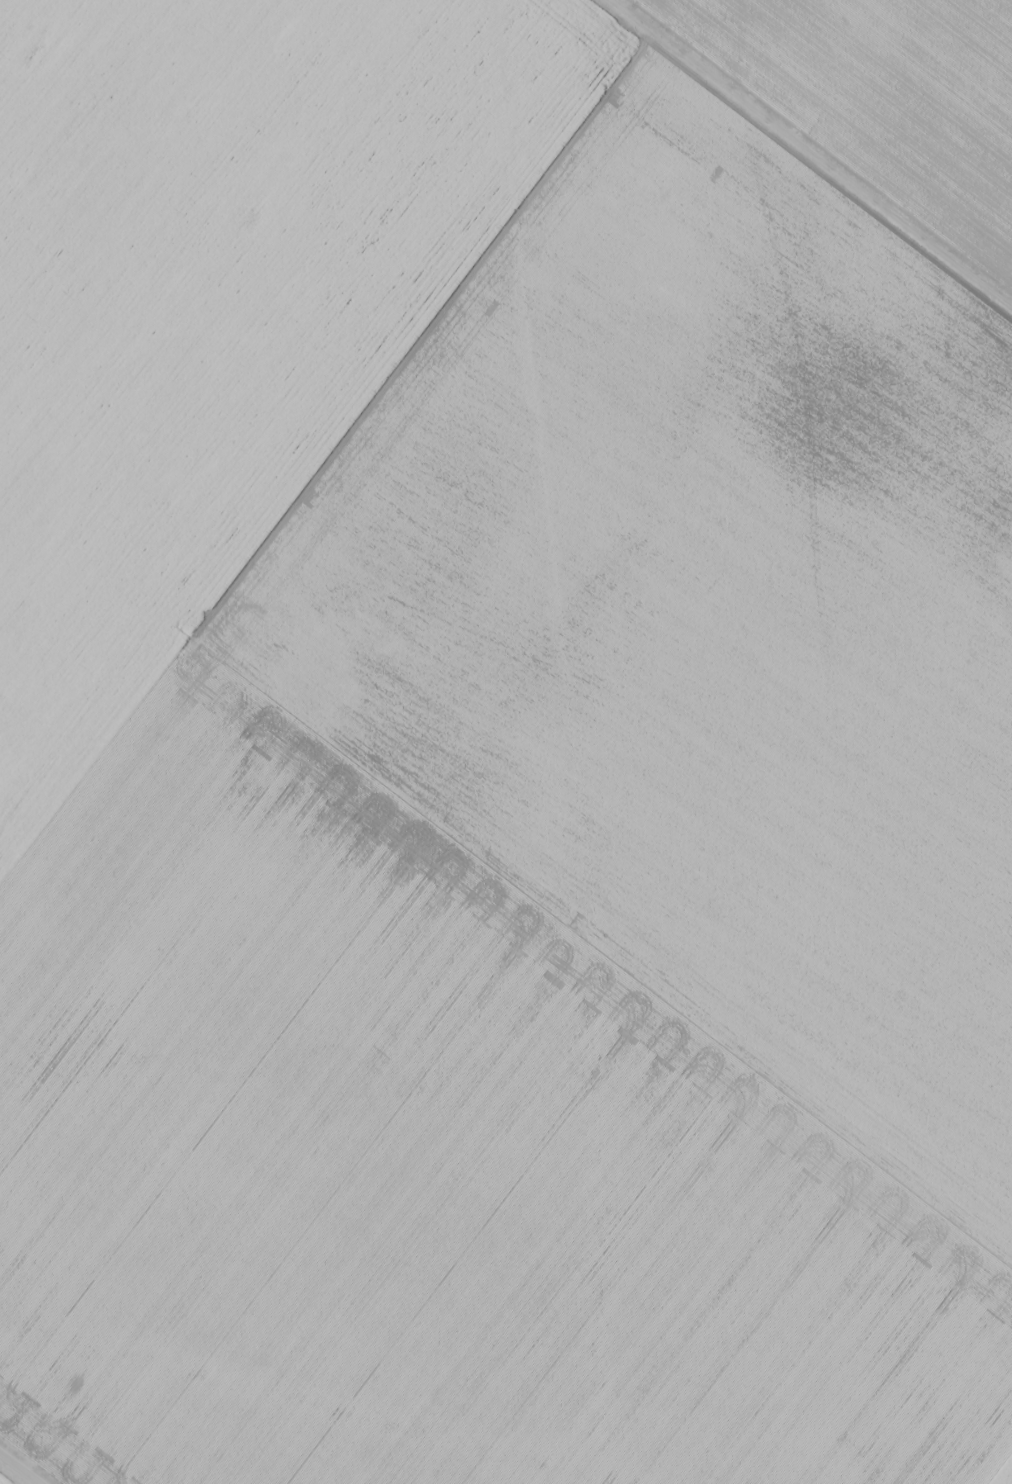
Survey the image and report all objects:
road: (811, 153)
road: (19, 1469)

